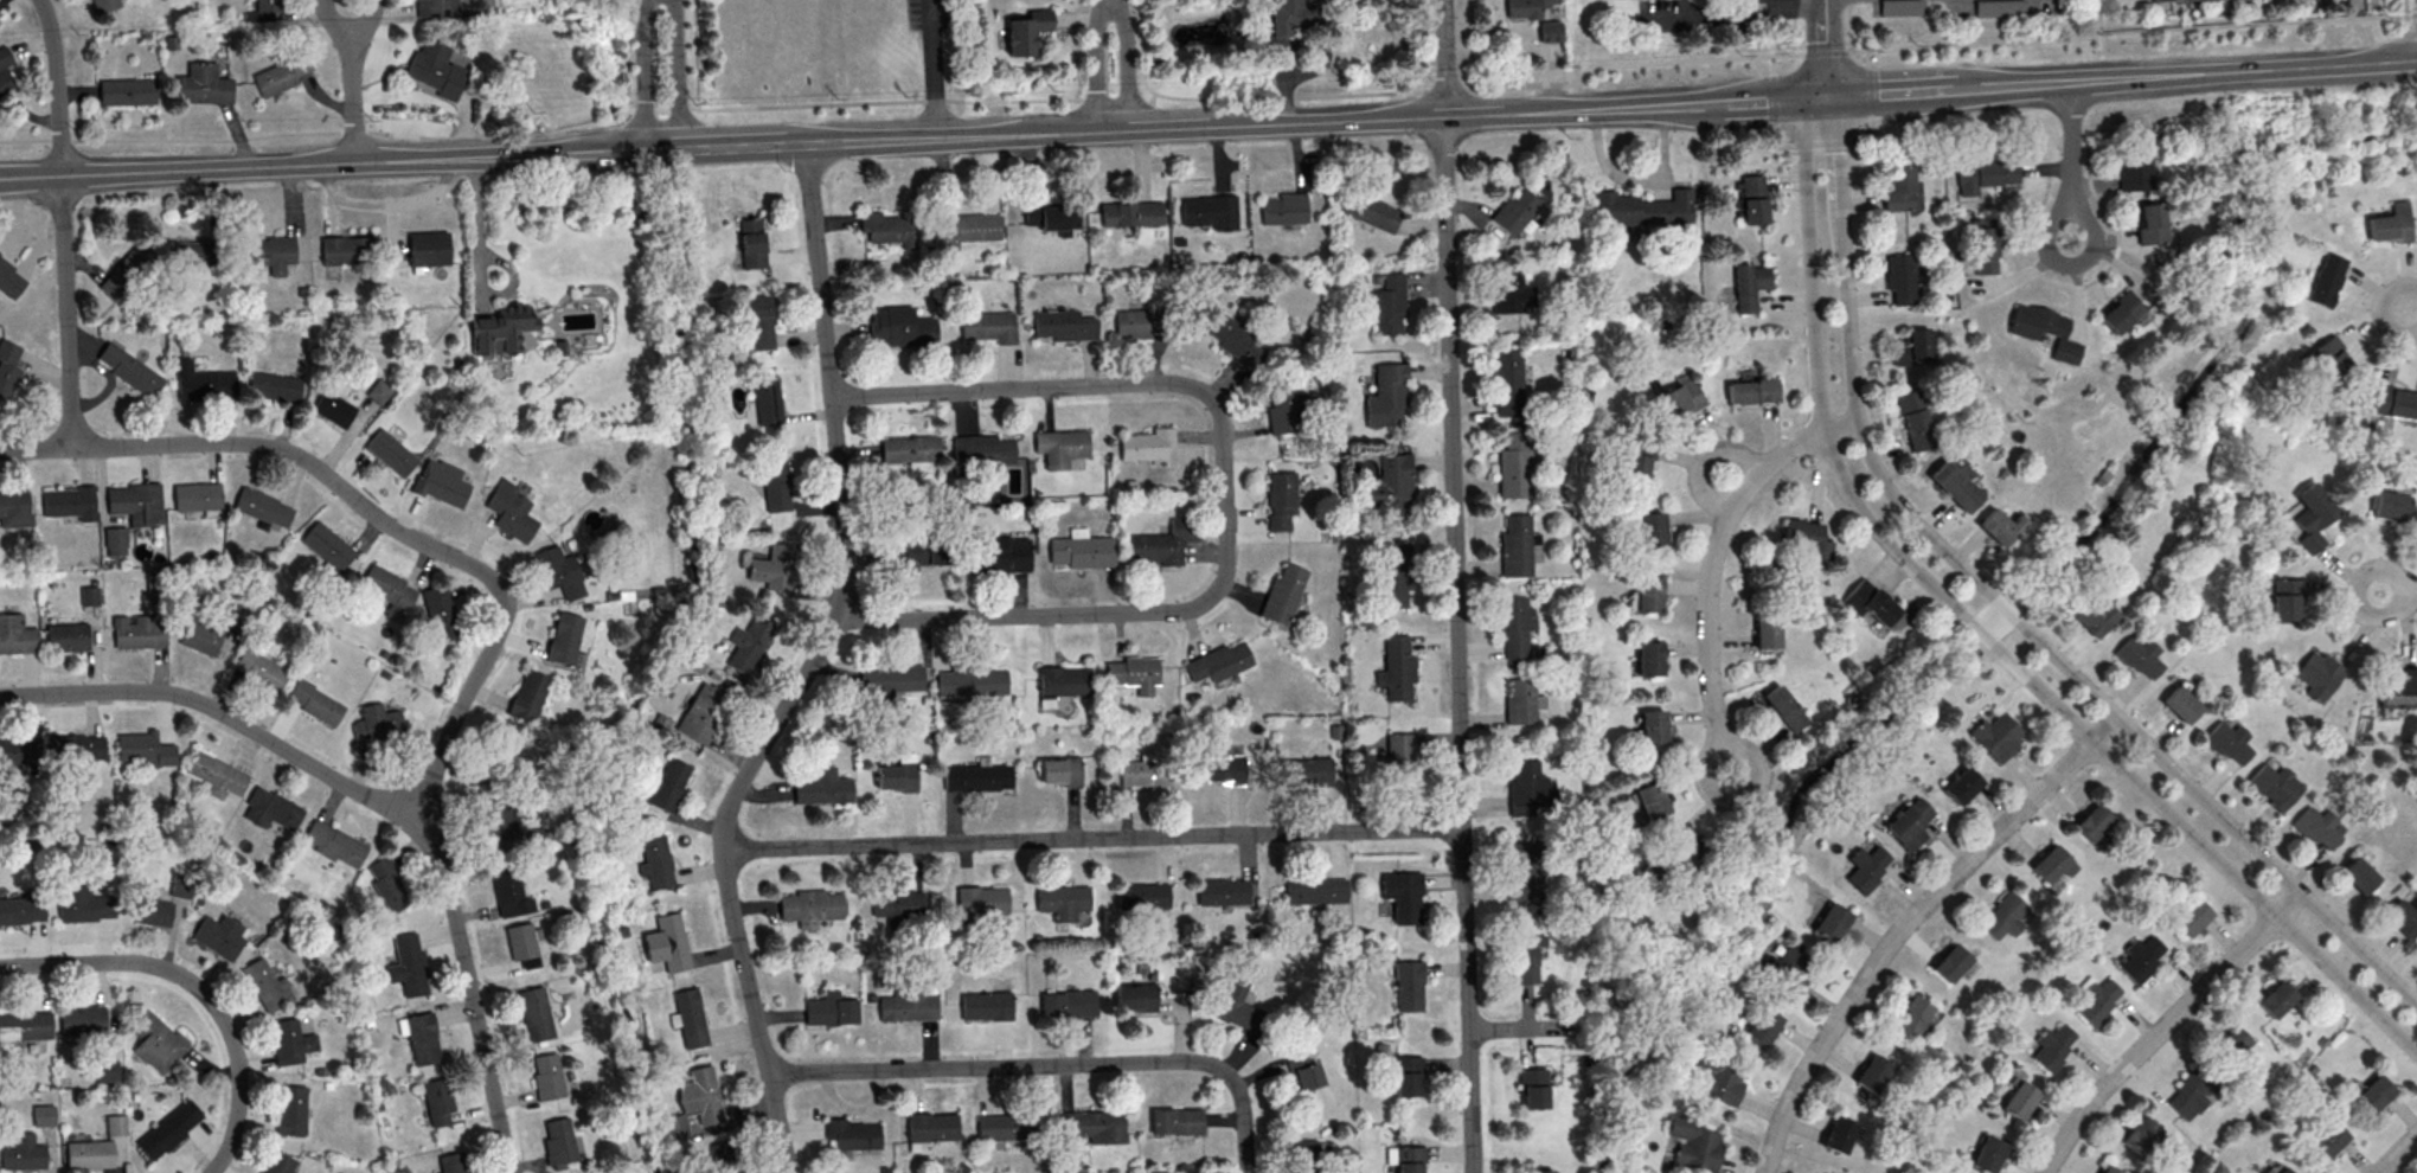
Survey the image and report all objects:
building: (2181, 1)
building: (105, 5)
building: (1527, 7)
building: (1900, 7)
building: (1999, 7)
building: (436, 8)
road: (1716, 9)
road: (2404, 9)
building: (265, 11)
building: (0, 13)
building: (1290, 15)
road: (1847, 25)
road: (1793, 27)
building: (1550, 31)
building: (1026, 33)
road: (1472, 45)
road: (1822, 47)
road: (1143, 49)
road: (1075, 50)
road: (1129, 63)
road: (1097, 64)
road: (1666, 64)
road: (934, 68)
building: (436, 71)
road: (2240, 71)
building: (6, 72)
road: (642, 73)
road: (684, 73)
building: (275, 78)
road: (353, 81)
building: (204, 84)
road: (1942, 89)
building: (128, 91)
traffic signals: (1820, 96)
road: (1659, 103)
road: (768, 105)
road: (1472, 114)
road: (1326, 118)
road: (603, 120)
road: (1172, 124)
road: (297, 133)
road: (970, 134)
road: (724, 146)
road: (2069, 146)
road: (350, 164)
building: (2135, 171)
building: (1986, 174)
road: (28, 178)
road: (1637, 182)
building: (1900, 188)
building: (1754, 198)
building: (1643, 209)
building: (1284, 210)
building: (1515, 210)
road: (2071, 210)
building: (1371, 211)
building: (1210, 213)
building: (1131, 216)
building: (1051, 217)
road: (59, 222)
building: (2152, 223)
building: (2391, 224)
building: (966, 227)
building: (886, 229)
road: (477, 238)
building: (751, 245)
building: (1985, 246)
building: (346, 250)
building: (428, 250)
building: (274, 254)
building: (9, 278)
building: (2327, 278)
building: (1899, 280)
building: (1750, 284)
building: (1508, 289)
building: (1387, 302)
road: (2383, 309)
building: (2122, 312)
building: (1139, 323)
building: (761, 326)
building: (1064, 326)
building: (900, 328)
building: (989, 328)
building: (502, 331)
building: (2044, 332)
building: (1235, 340)
building: (1919, 344)
building: (2329, 358)
building: (8, 367)
building: (130, 368)
road: (1851, 370)
building: (1509, 380)
building: (204, 382)
road: (1816, 383)
building: (275, 385)
building: (1751, 390)
building: (379, 391)
building: (1390, 391)
building: (1680, 397)
building: (767, 403)
building: (2393, 404)
building: (334, 408)
building: (1287, 410)
building: (1915, 421)
building: (1147, 446)
road: (34, 447)
building: (1060, 448)
building: (910, 450)
building: (391, 454)
building: (981, 454)
building: (1636, 462)
building: (1515, 463)
building: (441, 483)
building: (775, 486)
building: (1392, 487)
building: (1957, 491)
building: (198, 496)
road: (1224, 496)
building: (1281, 501)
building: (71, 502)
building: (137, 502)
building: (2391, 505)
building: (262, 507)
building: (15, 508)
building: (511, 513)
building: (2313, 515)
building: (1652, 528)
building: (1996, 530)
building: (1807, 538)
building: (115, 540)
building: (1162, 544)
building: (1517, 544)
building: (328, 545)
road: (1714, 545)
building: (1082, 552)
building: (924, 553)
building: (998, 558)
building: (772, 568)
building: (1396, 572)
building: (559, 573)
road: (1455, 585)
building: (390, 591)
road: (2404, 591)
road: (2411, 591)
building: (1648, 594)
building: (90, 595)
building: (1282, 596)
building: (2284, 598)
building: (1870, 602)
road: (2005, 610)
building: (442, 614)
building: (2094, 621)
building: (1517, 622)
road: (1981, 630)
building: (139, 632)
building: (1767, 633)
building: (17, 635)
building: (68, 636)
building: (200, 636)
building: (565, 640)
building: (749, 645)
road: (489, 653)
building: (1649, 658)
building: (2139, 658)
building: (1219, 664)
building: (1398, 666)
road: (809, 667)
building: (261, 668)
building: (1131, 673)
building: (2317, 675)
building: (892, 680)
building: (1063, 681)
building: (973, 684)
building: (2399, 690)
building: (528, 698)
building: (1521, 699)
building: (315, 703)
building: (2179, 706)
building: (1784, 707)
building: (705, 712)
road: (232, 720)
building: (377, 723)
building: (1653, 726)
building: (1995, 735)
building: (2227, 744)
road: (1720, 745)
building: (77, 746)
building: (143, 749)
building: (18, 750)
building: (1402, 756)
building: (501, 763)
building: (1224, 771)
building: (1060, 773)
building: (1146, 774)
building: (1304, 774)
building: (217, 775)
building: (896, 778)
building: (977, 780)
building: (667, 784)
building: (2272, 784)
building: (1531, 786)
building: (1961, 788)
building: (826, 790)
building: (1652, 800)
building: (271, 809)
road: (2217, 813)
building: (502, 820)
building: (2090, 820)
building: (2314, 826)
building: (1909, 827)
road: (1092, 837)
building: (335, 844)
road: (2203, 847)
building: (2050, 861)
building: (658, 864)
building: (1525, 867)
building: (1865, 870)
building: (2357, 873)
building: (182, 885)
building: (389, 885)
building: (509, 892)
building: (1321, 892)
building: (1222, 893)
building: (1404, 893)
building: (1143, 897)
building: (1063, 899)
building: (982, 900)
building: (84, 903)
building: (897, 904)
building: (809, 909)
building: (21, 910)
building: (152, 911)
building: (2005, 911)
building: (2188, 916)
building: (2402, 917)
road: (1908, 919)
building: (1831, 921)
building: (219, 935)
building: (672, 944)
building: (522, 947)
building: (1525, 954)
building: (2137, 959)
road: (154, 962)
building: (1949, 962)
building: (410, 967)
building: (1788, 967)
building: (269, 985)
building: (1410, 985)
building: (1136, 998)
building: (2274, 998)
building: (2094, 1001)
building: (1068, 1005)
building: (1233, 1007)
building: (986, 1008)
building: (910, 1009)
building: (831, 1013)
building: (537, 1015)
building: (1915, 1015)
building: (83, 1020)
building: (691, 1020)
building: (27, 1026)
building: (1762, 1026)
road: (2161, 1026)
road: (1522, 1027)
building: (156, 1040)
building: (422, 1040)
building: (290, 1041)
building: (2227, 1043)
building: (2050, 1046)
road: (1050, 1063)
building: (107, 1070)
building: (1303, 1071)
building: (1870, 1072)
building: (1410, 1076)
building: (547, 1077)
building: (1718, 1085)
building: (1537, 1088)
building: (2373, 1092)
building: (2186, 1094)
building: (704, 1097)
building: (2017, 1098)
building: (438, 1102)
building: (291, 1110)
building: (44, 1115)
building: (1175, 1122)
building: (116, 1124)
building: (1092, 1124)
building: (169, 1128)
building: (1006, 1128)
road: (233, 1129)
building: (931, 1129)
building: (1838, 1135)
building: (2137, 1135)
building: (851, 1136)
building: (558, 1140)
building: (2326, 1140)
building: (1693, 1142)
road: (2394, 1152)
building: (24, 1153)
building: (1986, 1153)
building: (88, 1154)
building: (719, 1158)
building: (1306, 1158)
building: (1410, 1158)
building: (278, 1162)
building: (451, 1164)
building: (1541, 1169)
building: (2107, 1169)

